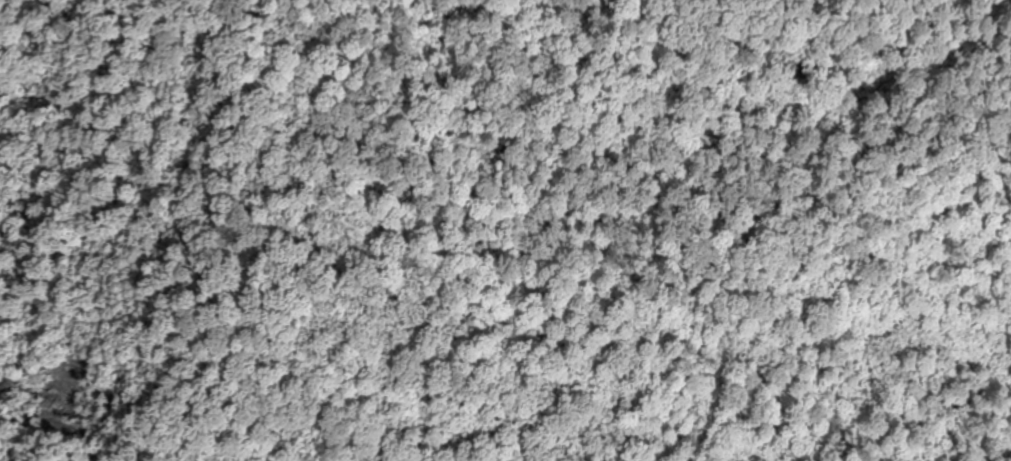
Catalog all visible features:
road: (886, 255)

